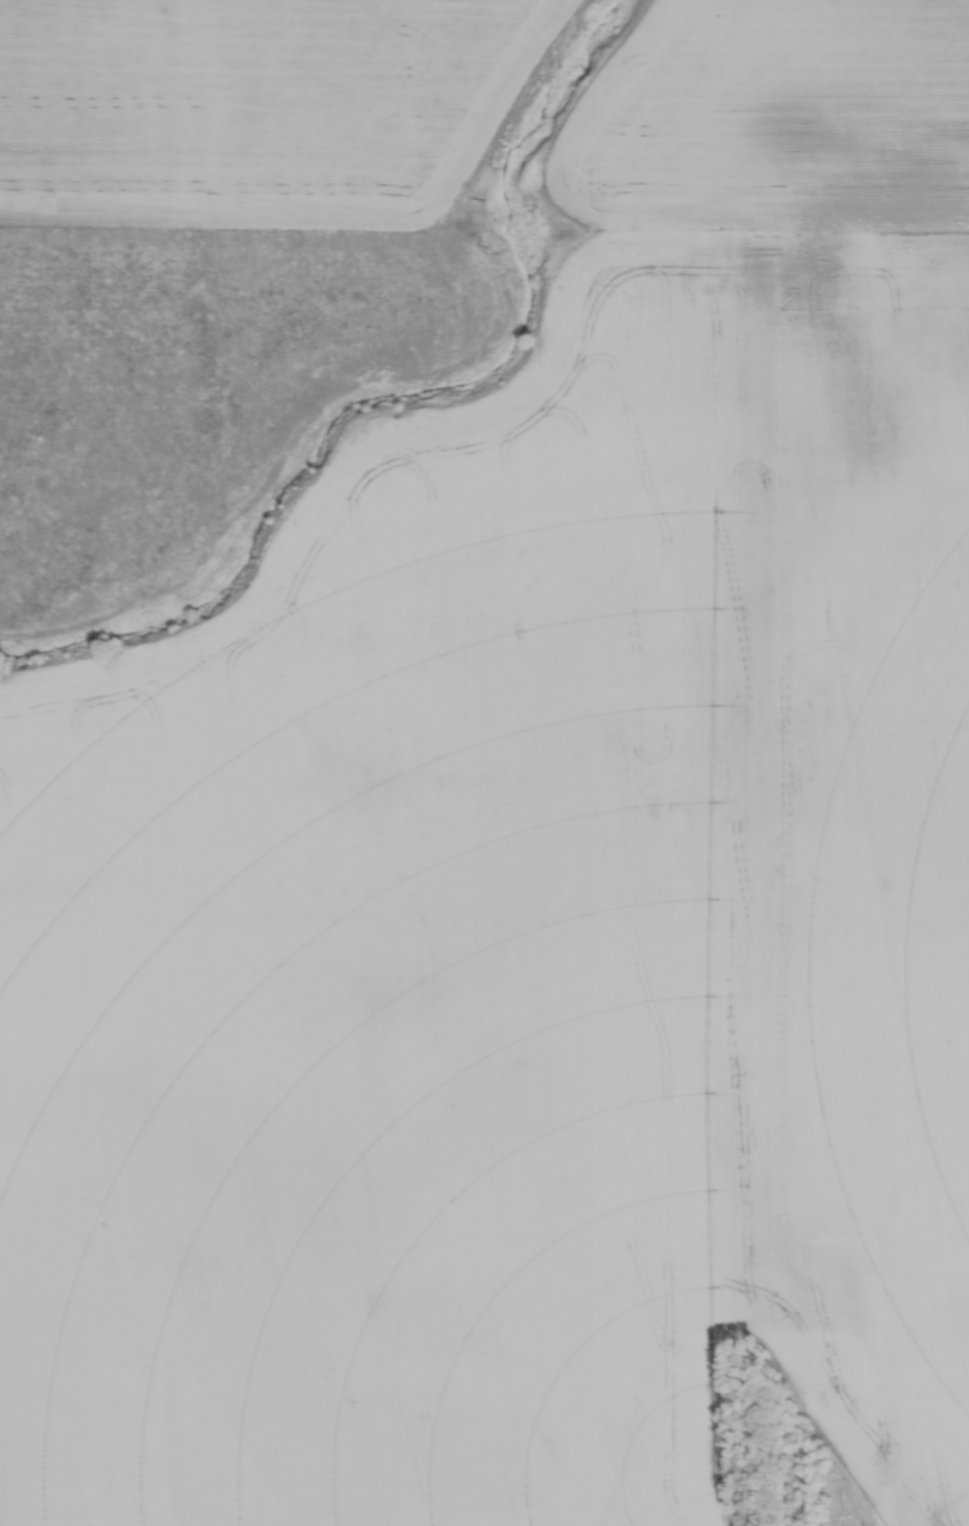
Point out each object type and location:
river: (409, 402)

